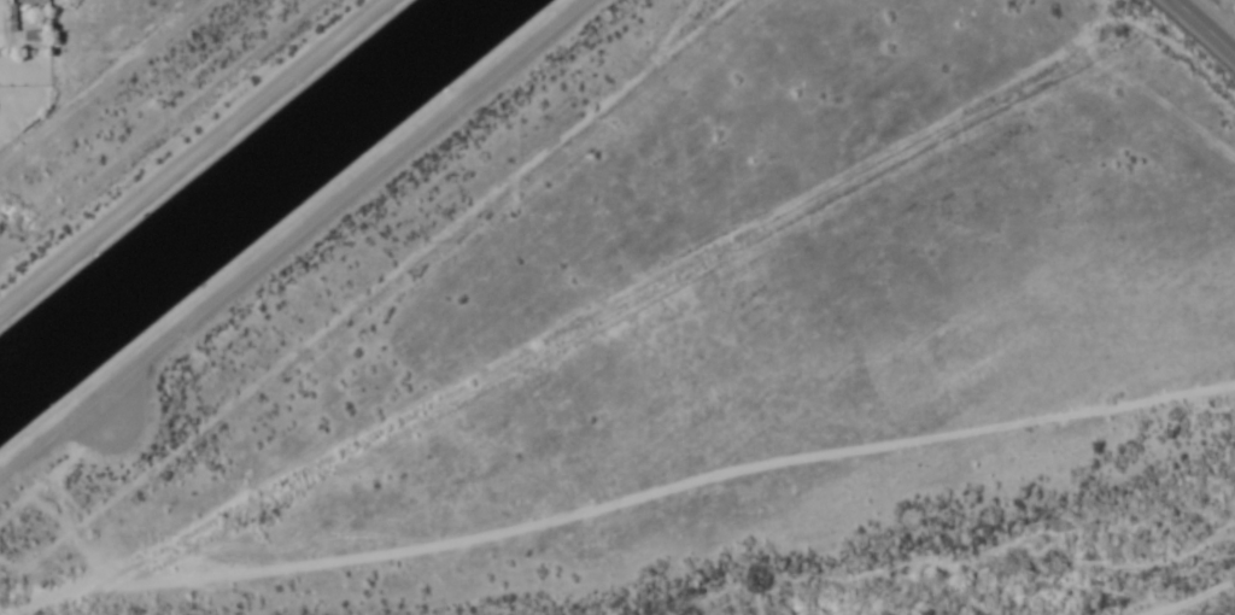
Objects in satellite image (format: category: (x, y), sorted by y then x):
road: (1201, 29)
road: (189, 154)
road: (292, 238)

